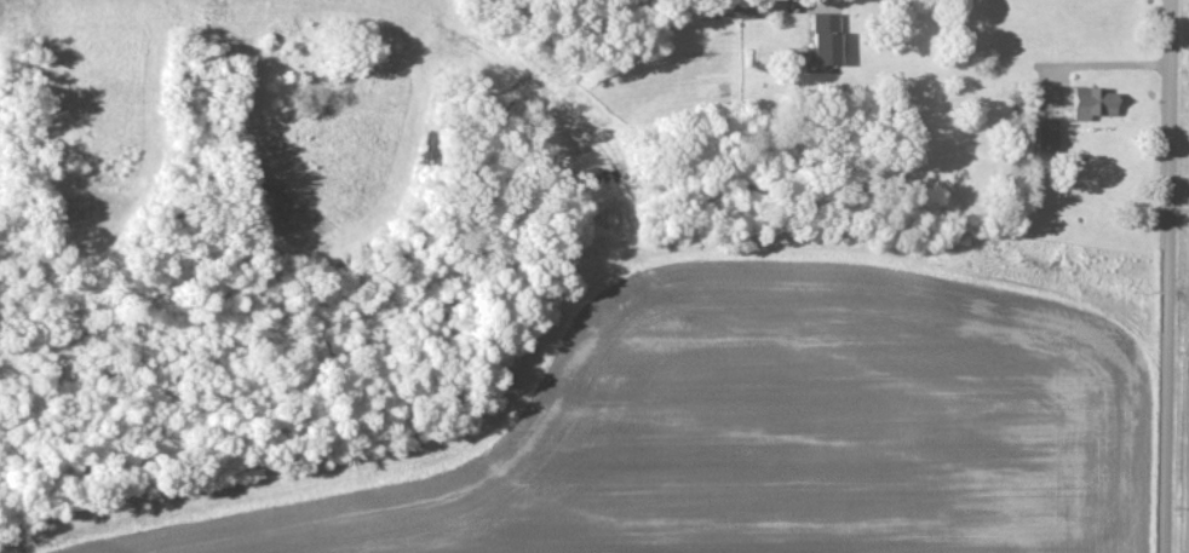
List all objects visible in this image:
road: (833, 2)
building: (817, 39)
road: (1089, 68)
building: (1086, 102)
building: (1042, 133)
road: (1170, 276)

